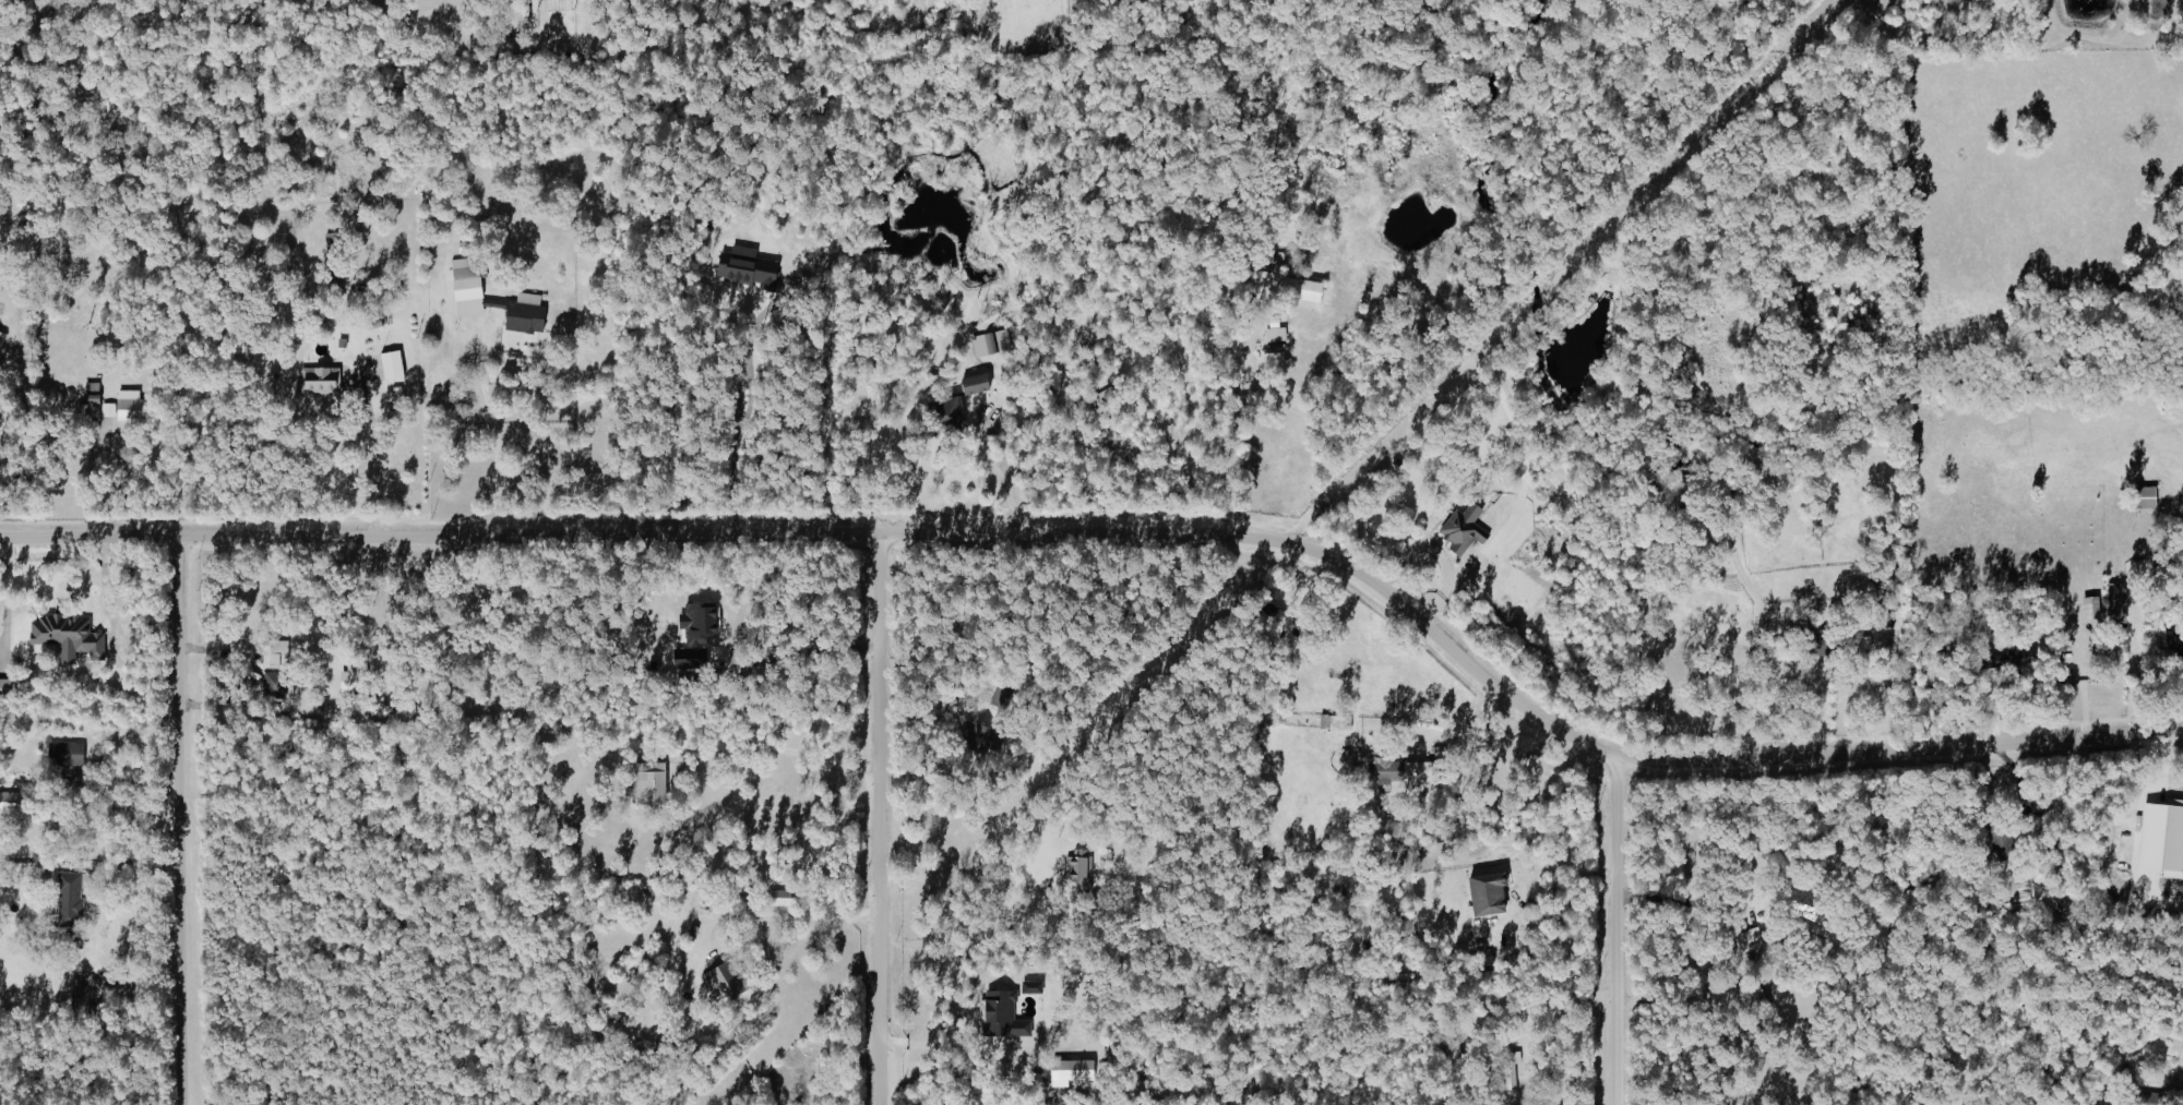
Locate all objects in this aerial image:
building: (1261, 260)
building: (744, 268)
building: (1299, 289)
building: (1273, 332)
building: (2, 339)
building: (395, 364)
building: (323, 381)
building: (975, 384)
building: (139, 409)
building: (110, 410)
building: (943, 416)
road: (489, 429)
road: (744, 430)
road: (1233, 434)
road: (374, 453)
road: (997, 469)
building: (2143, 497)
building: (1460, 530)
road: (1126, 532)
building: (2114, 602)
building: (2088, 608)
building: (694, 620)
building: (69, 636)
road: (810, 649)
building: (692, 659)
building: (2000, 660)
road: (1778, 674)
building: (355, 677)
building: (275, 682)
building: (8, 688)
building: (1338, 722)
road: (750, 753)
building: (68, 754)
building: (1381, 770)
building: (1412, 772)
building: (643, 783)
building: (13, 804)
road: (884, 816)
road: (177, 821)
building: (2159, 841)
building: (1076, 865)
road: (1554, 887)
building: (1482, 892)
building: (70, 898)
building: (775, 901)
building: (1800, 901)
road: (1683, 905)
road: (2158, 908)
road: (980, 910)
road: (815, 918)
road: (1619, 933)
building: (1747, 940)
building: (719, 981)
building: (1029, 987)
building: (999, 1014)
road: (946, 1050)
building: (1072, 1070)
building: (1511, 1071)
building: (2146, 1098)

